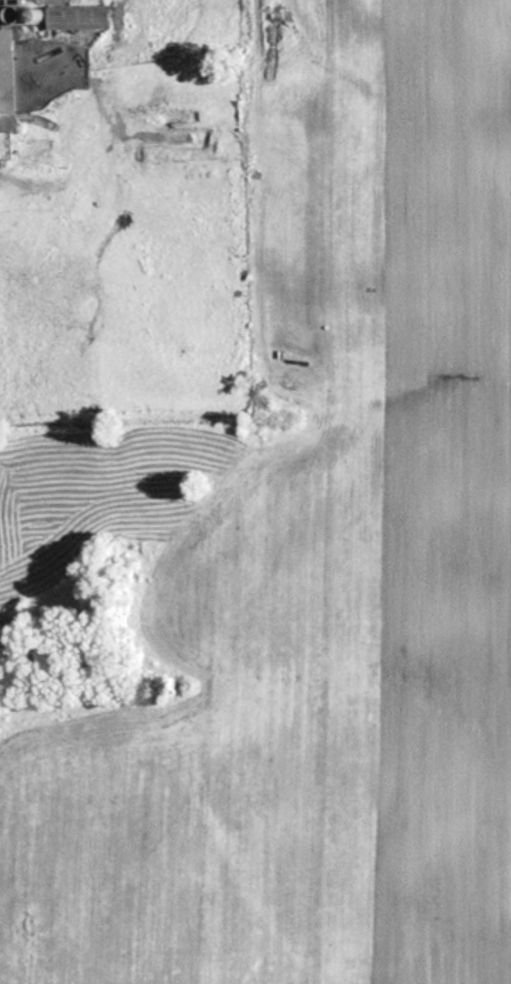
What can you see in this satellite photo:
building: (78, 18)
building: (7, 81)

